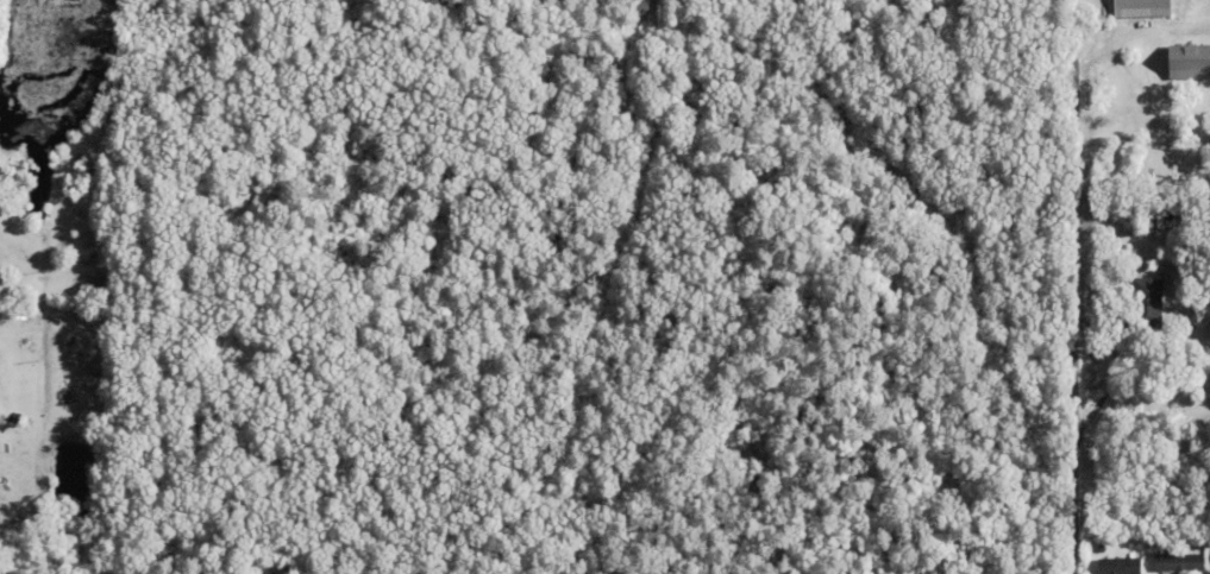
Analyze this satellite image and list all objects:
building: (1136, 8)
building: (1185, 62)
building: (1136, 213)
building: (1149, 220)
building: (1168, 220)
road: (1074, 286)
building: (1147, 304)
building: (1205, 441)
building: (1179, 563)
building: (1120, 566)

